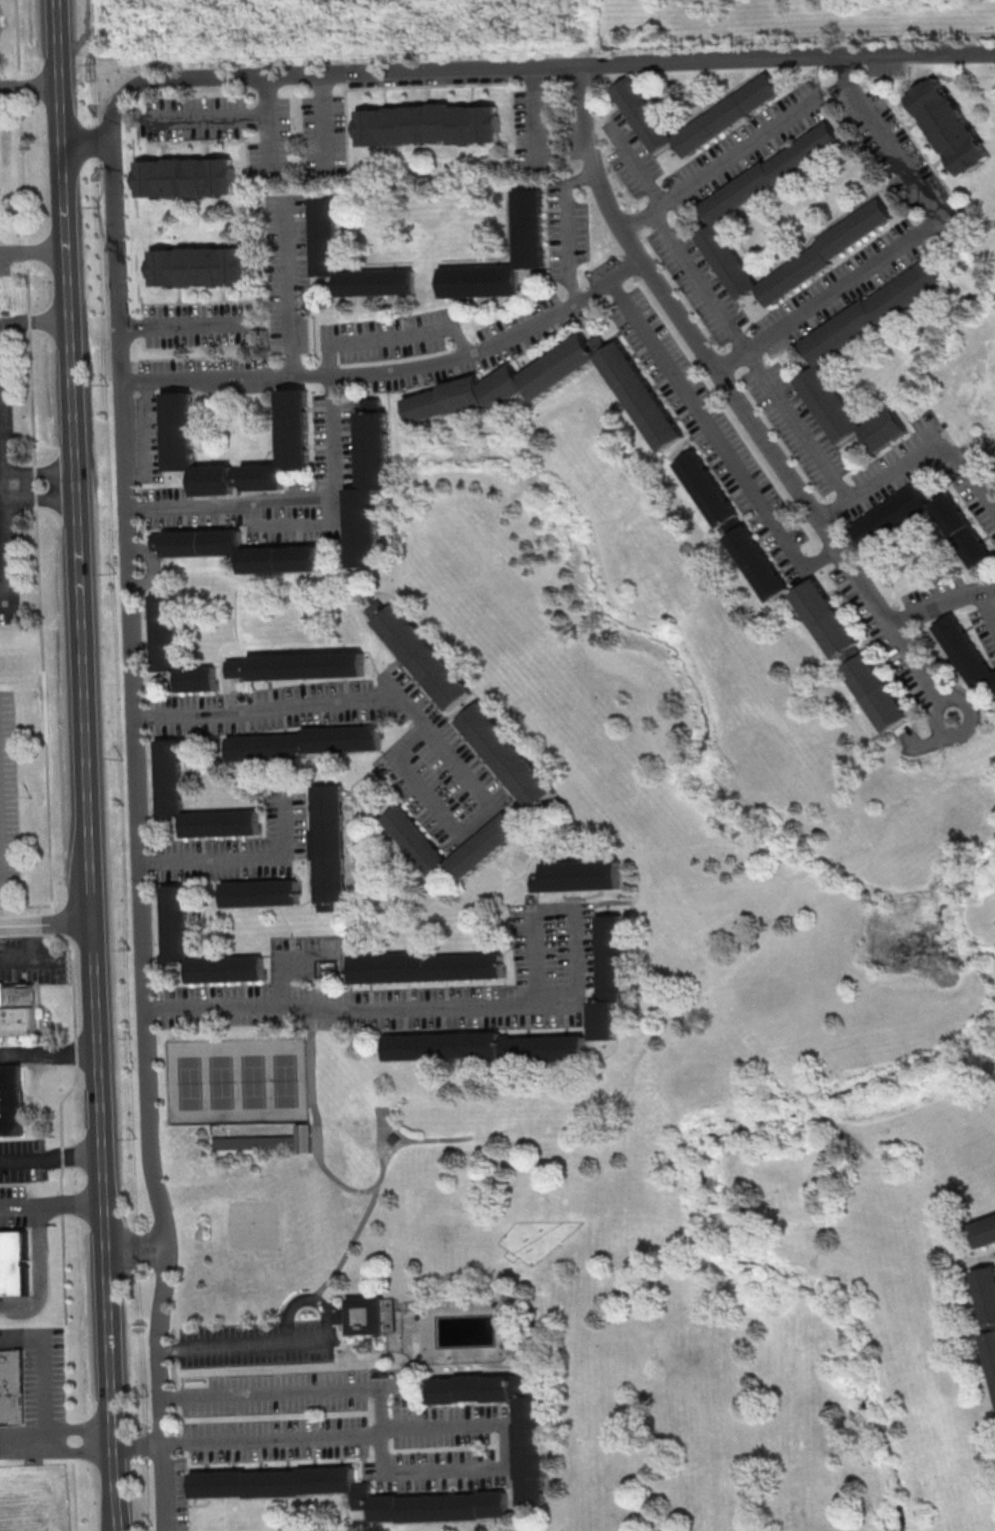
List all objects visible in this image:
park: (503, 26)
road: (29, 84)
building: (727, 114)
road: (541, 120)
road: (210, 121)
building: (429, 124)
building: (949, 126)
road: (327, 127)
road: (273, 129)
road: (889, 142)
road: (87, 143)
road: (723, 164)
road: (639, 166)
building: (187, 176)
road: (103, 188)
building: (718, 210)
building: (528, 227)
road: (569, 229)
road: (930, 230)
building: (323, 233)
road: (37, 249)
road: (5, 251)
parking lot: (5, 259)
building: (200, 265)
road: (701, 282)
road: (293, 289)
road: (817, 306)
road: (17, 307)
road: (33, 320)
road: (193, 331)
road: (394, 341)
building: (823, 357)
road: (399, 375)
road: (124, 377)
building: (469, 394)
road: (742, 407)
building: (177, 428)
road: (800, 429)
road: (146, 433)
road: (722, 443)
road: (73, 459)
road: (37, 469)
road: (969, 479)
road: (1, 484)
building: (368, 484)
road: (883, 484)
road: (37, 499)
parking lot: (7, 504)
road: (296, 504)
road: (4, 519)
building: (731, 523)
road: (299, 526)
building: (965, 537)
building: (237, 550)
road: (942, 606)
road: (990, 606)
building: (829, 621)
building: (174, 647)
building: (420, 653)
building: (966, 654)
building: (307, 665)
building: (238, 667)
road: (43, 684)
building: (877, 692)
road: (348, 705)
building: (304, 742)
building: (506, 755)
building: (169, 774)
road: (430, 798)
parking lot: (8, 804)
road: (921, 805)
building: (486, 845)
building: (330, 846)
road: (246, 863)
road: (0, 869)
road: (824, 869)
building: (576, 875)
building: (261, 892)
road: (556, 916)
building: (174, 920)
road: (45, 921)
road: (33, 955)
road: (283, 961)
building: (425, 966)
building: (607, 976)
building: (16, 1008)
road: (363, 1011)
building: (485, 1046)
road: (759, 1049)
road: (48, 1056)
park: (240, 1081)
building: (10, 1099)
road: (814, 1106)
road: (512, 1132)
building: (309, 1142)
building: (397, 1142)
building: (259, 1145)
road: (322, 1158)
road: (50, 1159)
parking lot: (21, 1160)
road: (610, 1170)
road: (861, 1188)
road: (69, 1203)
parking lot: (12, 1205)
road: (19, 1205)
road: (102, 1225)
park: (258, 1229)
road: (348, 1245)
road: (136, 1251)
building: (13, 1263)
road: (39, 1272)
road: (807, 1288)
building: (985, 1292)
building: (342, 1316)
building: (369, 1319)
road: (302, 1346)
parking lot: (261, 1348)
building: (990, 1352)
road: (38, 1369)
building: (12, 1386)
road: (277, 1395)
parking lot: (40, 1398)
road: (796, 1412)
road: (74, 1428)
road: (21, 1439)
road: (308, 1440)
road: (74, 1450)
building: (529, 1453)
road: (425, 1475)
road: (73, 1490)
building: (242, 1493)
road: (512, 1501)

